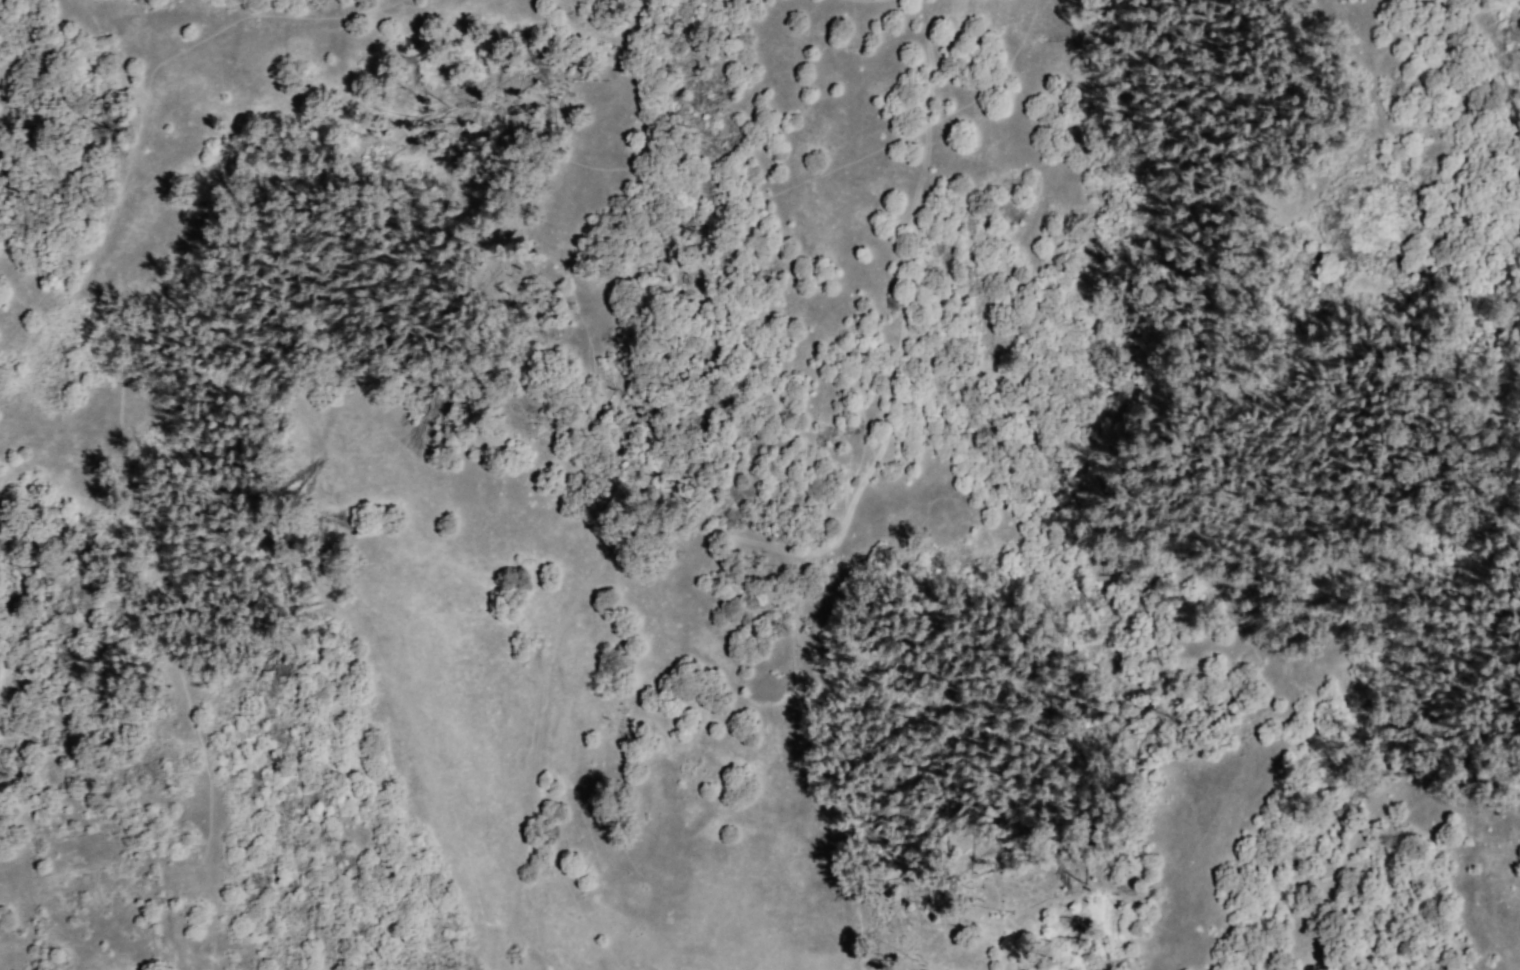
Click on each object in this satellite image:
building: (58, 653)

